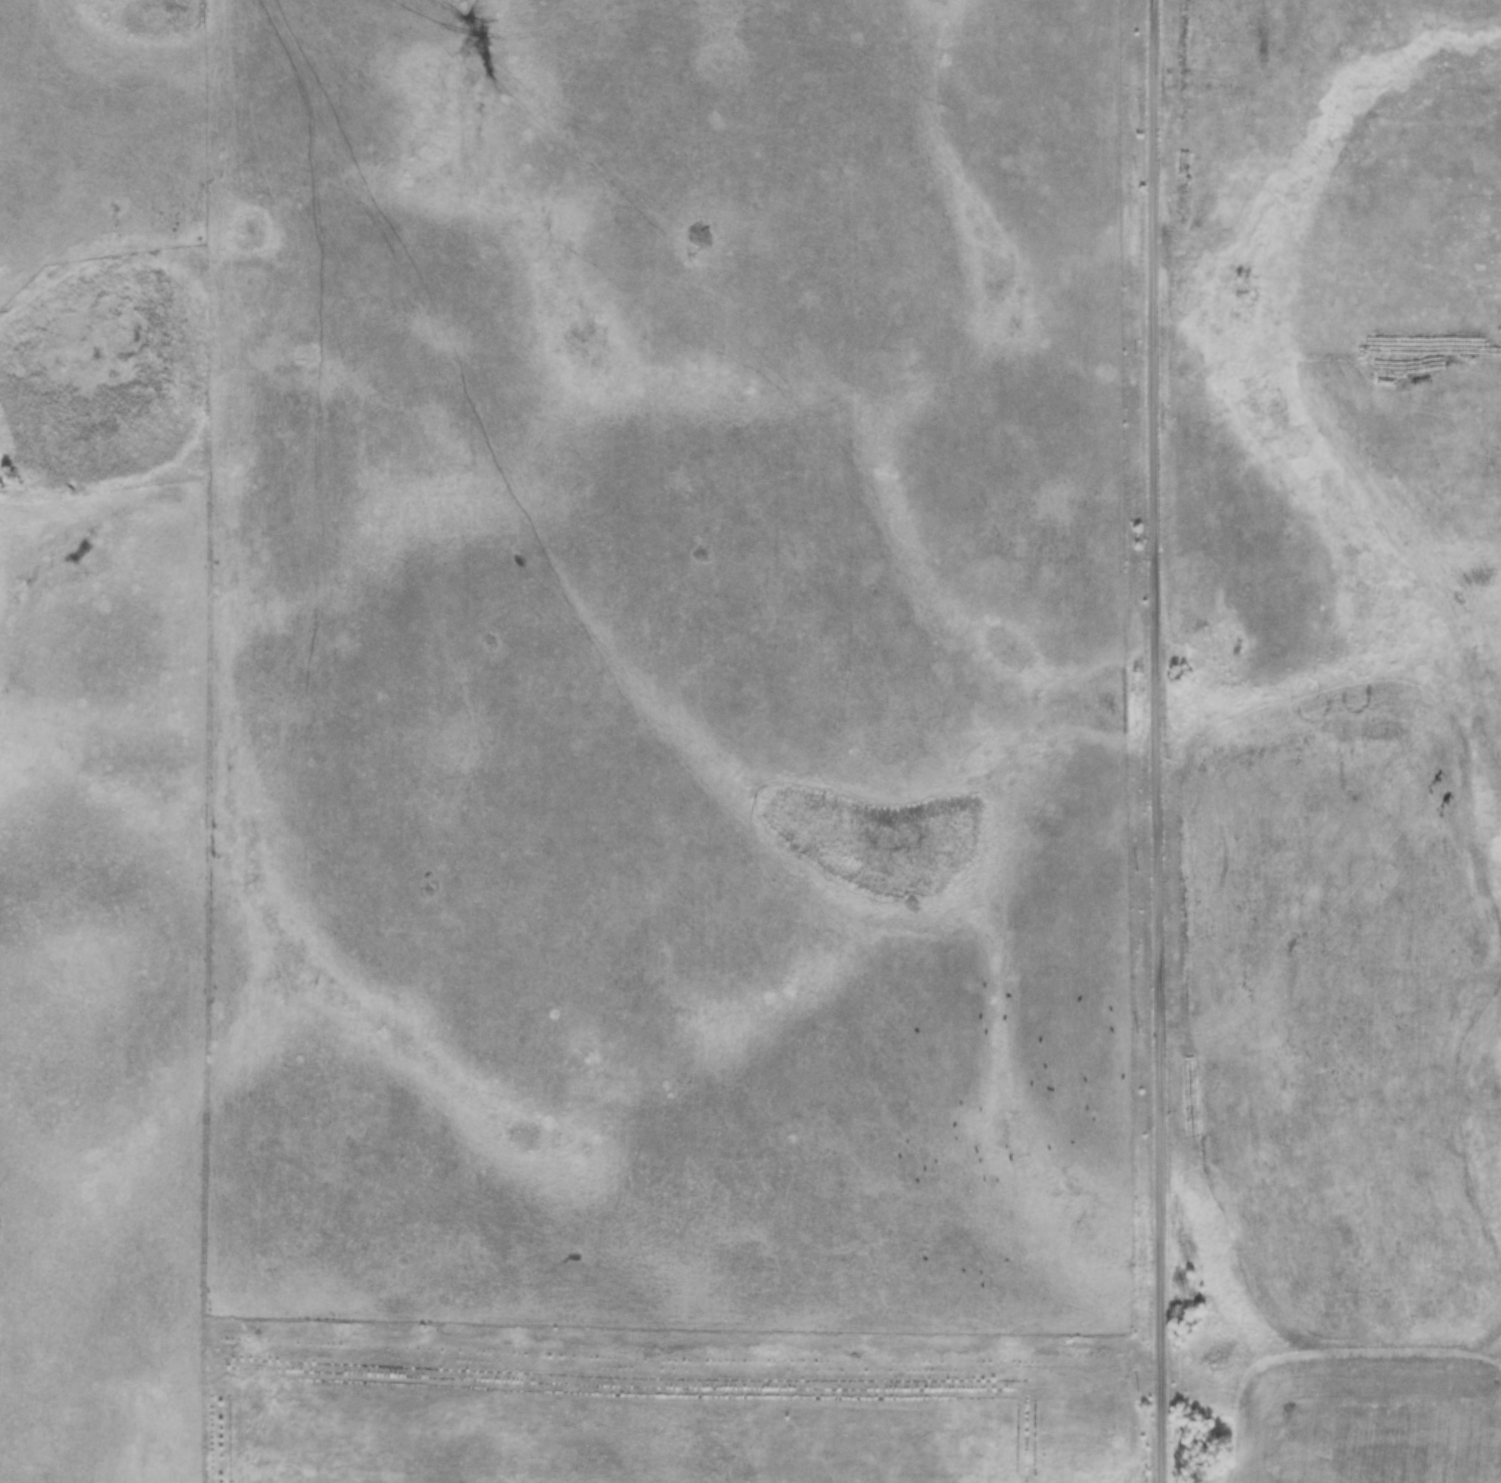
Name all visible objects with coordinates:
road: (1157, 741)
building: (1243, 1076)

